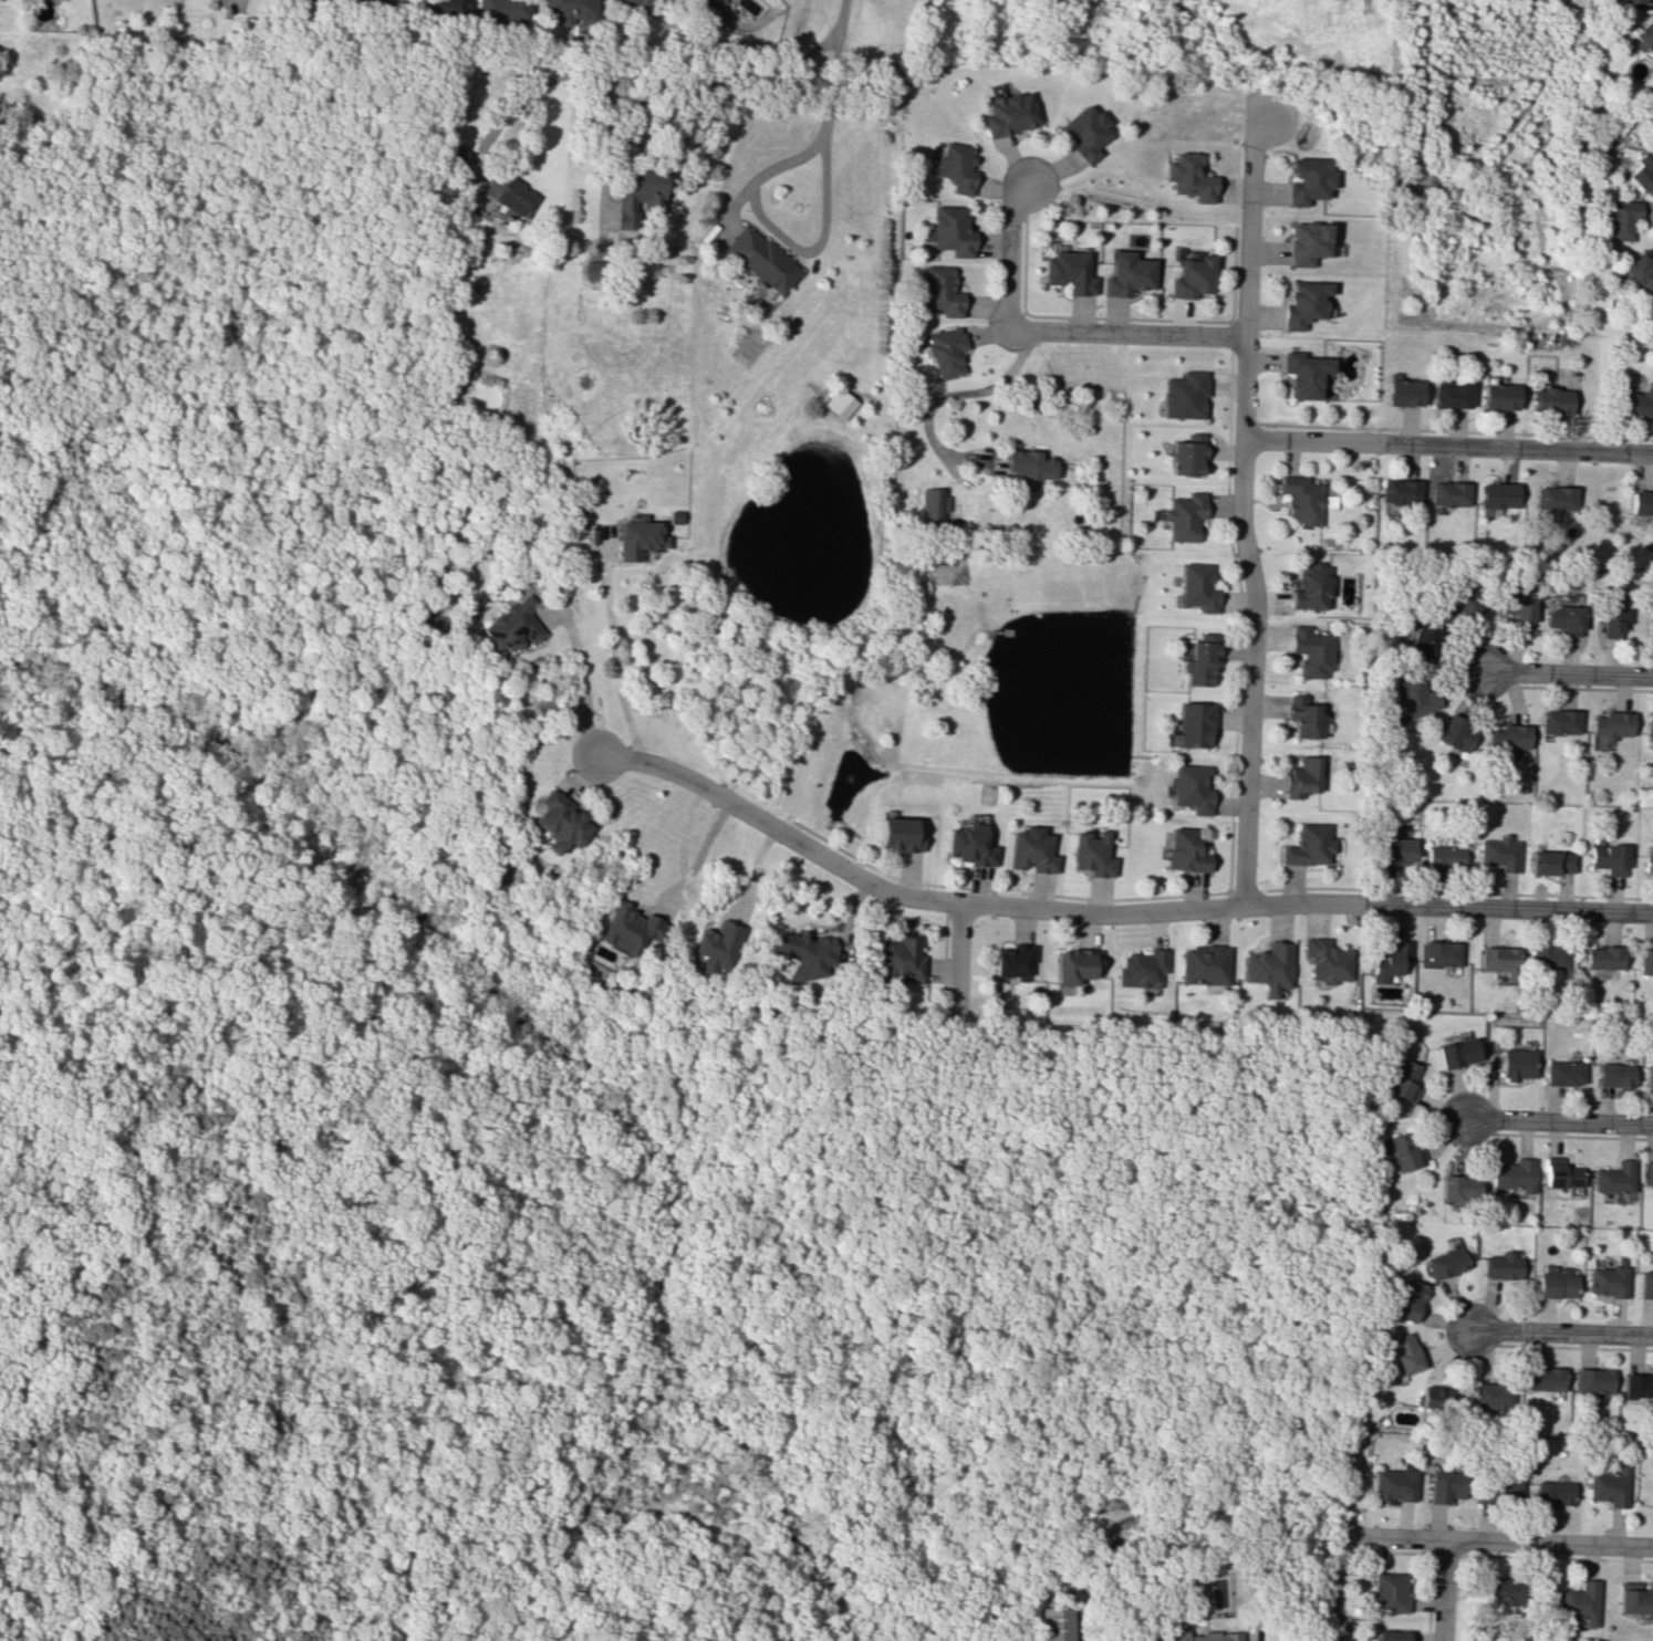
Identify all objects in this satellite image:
building: (388, 0)
building: (1635, 0)
building: (631, 2)
building: (703, 2)
building: (450, 6)
building: (502, 10)
building: (570, 10)
road: (840, 15)
building: (1645, 38)
road: (654, 72)
building: (1009, 114)
road: (628, 130)
building: (1085, 133)
building: (457, 159)
building: (956, 167)
building: (1643, 169)
building: (1188, 177)
building: (1307, 180)
building: (509, 194)
building: (638, 194)
building: (1621, 219)
building: (949, 231)
road: (820, 233)
building: (1306, 243)
road: (1010, 254)
building: (761, 259)
building: (592, 269)
building: (1068, 271)
building: (1640, 271)
building: (1127, 274)
building: (1192, 276)
building: (938, 291)
building: (1303, 304)
road: (1127, 333)
building: (944, 351)
building: (1303, 373)
building: (1403, 391)
building: (1451, 394)
road: (954, 395)
building: (1184, 395)
building: (1498, 396)
building: (1550, 400)
building: (838, 403)
building: (1638, 404)
road: (1448, 446)
building: (1186, 454)
building: (1028, 464)
building: (1400, 490)
building: (1449, 493)
building: (1498, 495)
building: (1555, 498)
building: (1301, 499)
building: (1640, 502)
building: (931, 505)
road: (1241, 509)
building: (1183, 515)
building: (637, 536)
building: (1311, 586)
building: (1194, 587)
building: (1462, 600)
building: (1518, 605)
building: (1612, 617)
building: (1564, 619)
building: (1651, 624)
building: (513, 625)
building: (1422, 640)
building: (1310, 651)
road: (612, 656)
building: (1198, 660)
road: (1571, 673)
road: (581, 682)
building: (1415, 697)
building: (1303, 717)
building: (1560, 721)
building: (1650, 722)
building: (1192, 725)
building: (1610, 729)
building: (1457, 733)
building: (1510, 738)
building: (1302, 777)
building: (1191, 787)
building: (557, 822)
building: (898, 834)
building: (968, 844)
building: (1310, 845)
building: (1031, 850)
building: (1186, 850)
road: (698, 851)
building: (1394, 851)
building: (1091, 853)
building: (1500, 853)
building: (1444, 857)
building: (1609, 858)
building: (1552, 861)
building: (1647, 865)
park: (124, 872)
road: (1106, 913)
building: (628, 928)
building: (715, 945)
building: (804, 953)
building: (1441, 953)
park: (144, 957)
building: (1549, 957)
building: (1604, 958)
building: (900, 959)
building: (1013, 960)
building: (1328, 960)
building: (1390, 960)
building: (1499, 960)
road: (958, 961)
building: (1646, 962)
building: (1075, 964)
building: (1205, 964)
building: (1271, 966)
building: (1143, 969)
building: (1652, 981)
building: (1456, 1052)
road: (245, 1063)
building: (1516, 1064)
building: (1562, 1073)
building: (1613, 1074)
building: (1649, 1075)
building: (1402, 1080)
road: (1559, 1122)
building: (1401, 1152)
building: (1646, 1172)
building: (1557, 1173)
building: (1509, 1174)
building: (1611, 1178)
building: (1454, 1188)
building: (1442, 1262)
building: (1498, 1266)
building: (1603, 1281)
building: (1643, 1283)
building: (1551, 1284)
building: (1405, 1300)
road: (1559, 1334)
building: (1402, 1352)
building: (1541, 1379)
building: (1590, 1380)
building: (1636, 1386)
road: (85, 1391)
building: (1489, 1396)
building: (1437, 1398)
building: (1392, 1485)
building: (1443, 1486)
building: (1607, 1486)
building: (1496, 1491)
building: (1550, 1492)
road: (1495, 1543)
road: (1333, 1588)
building: (1500, 1590)
building: (1389, 1591)
road: (1442, 1591)
building: (1633, 1598)
building: (1578, 1601)
building: (1054, 1623)
road: (231, 1627)
building: (1200, 1635)
building: (1391, 1635)

